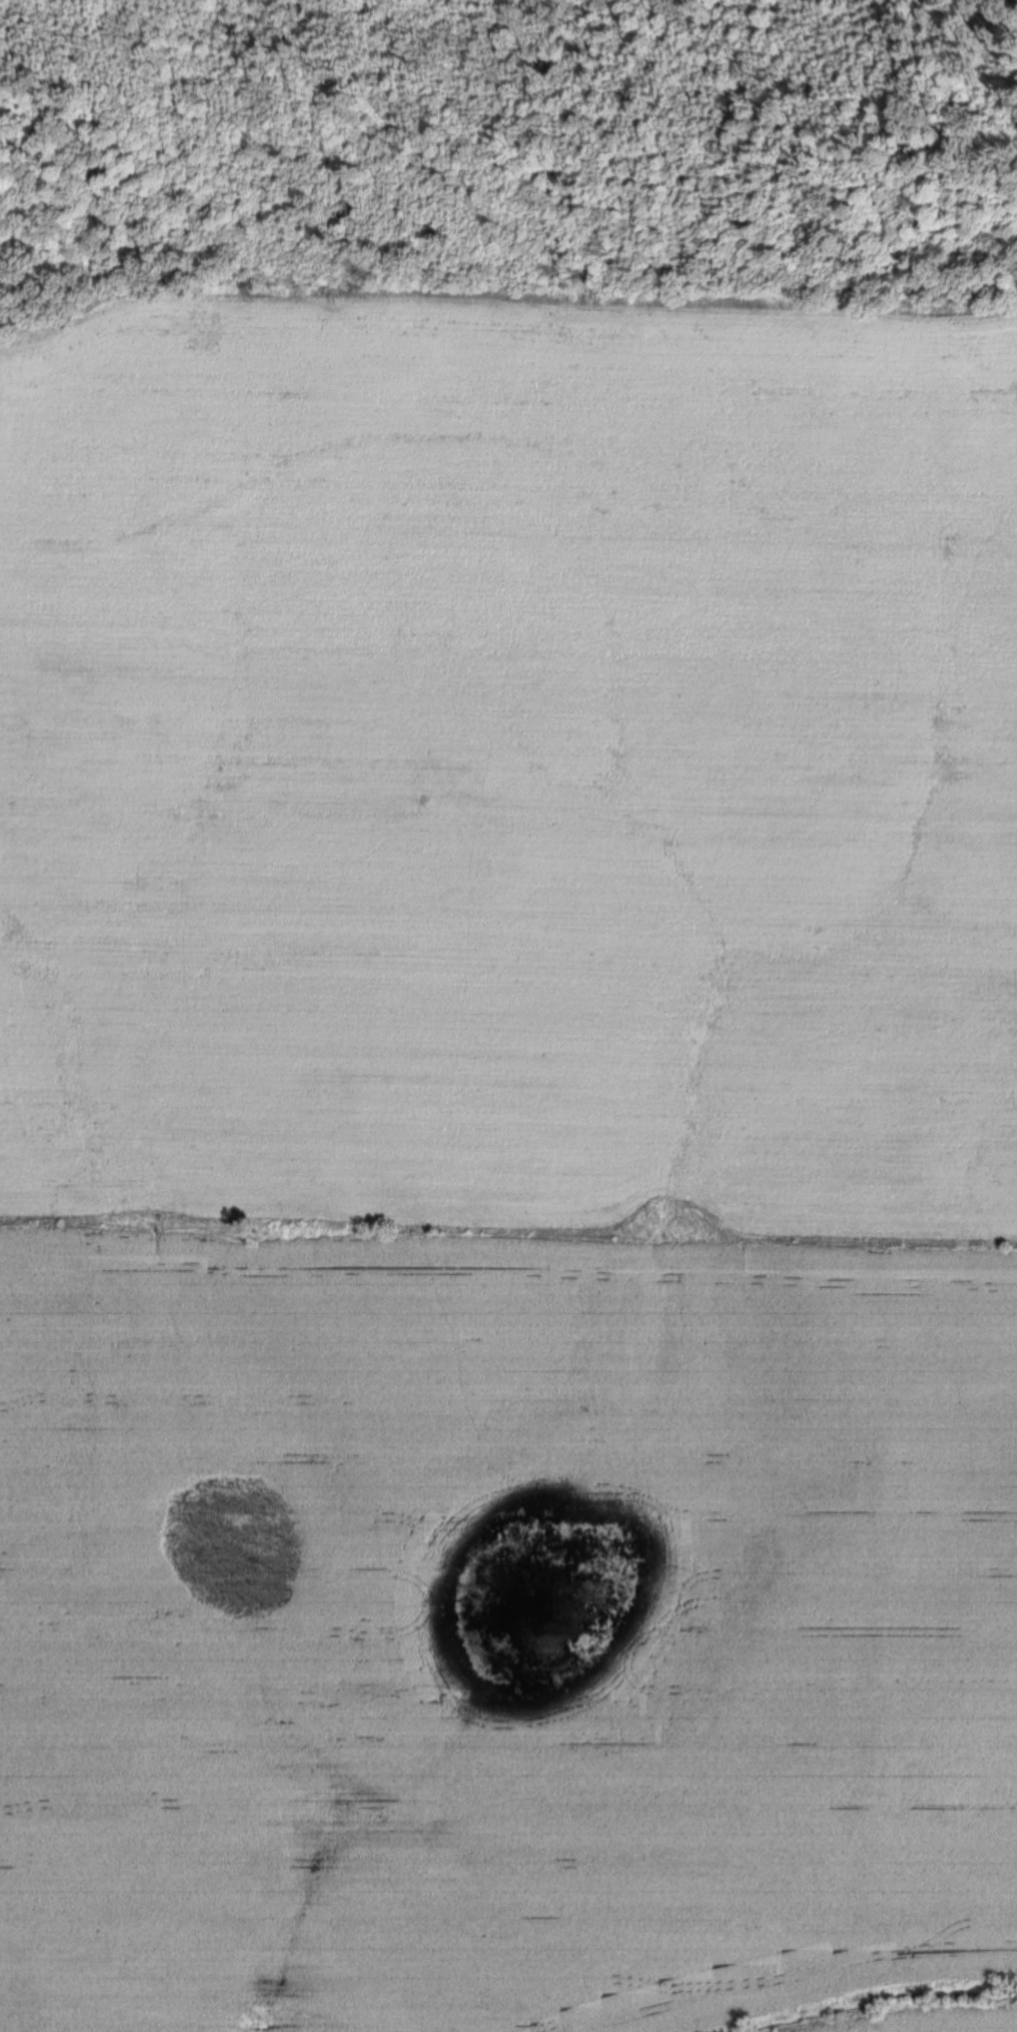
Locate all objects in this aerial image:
crop: (509, 1163)

